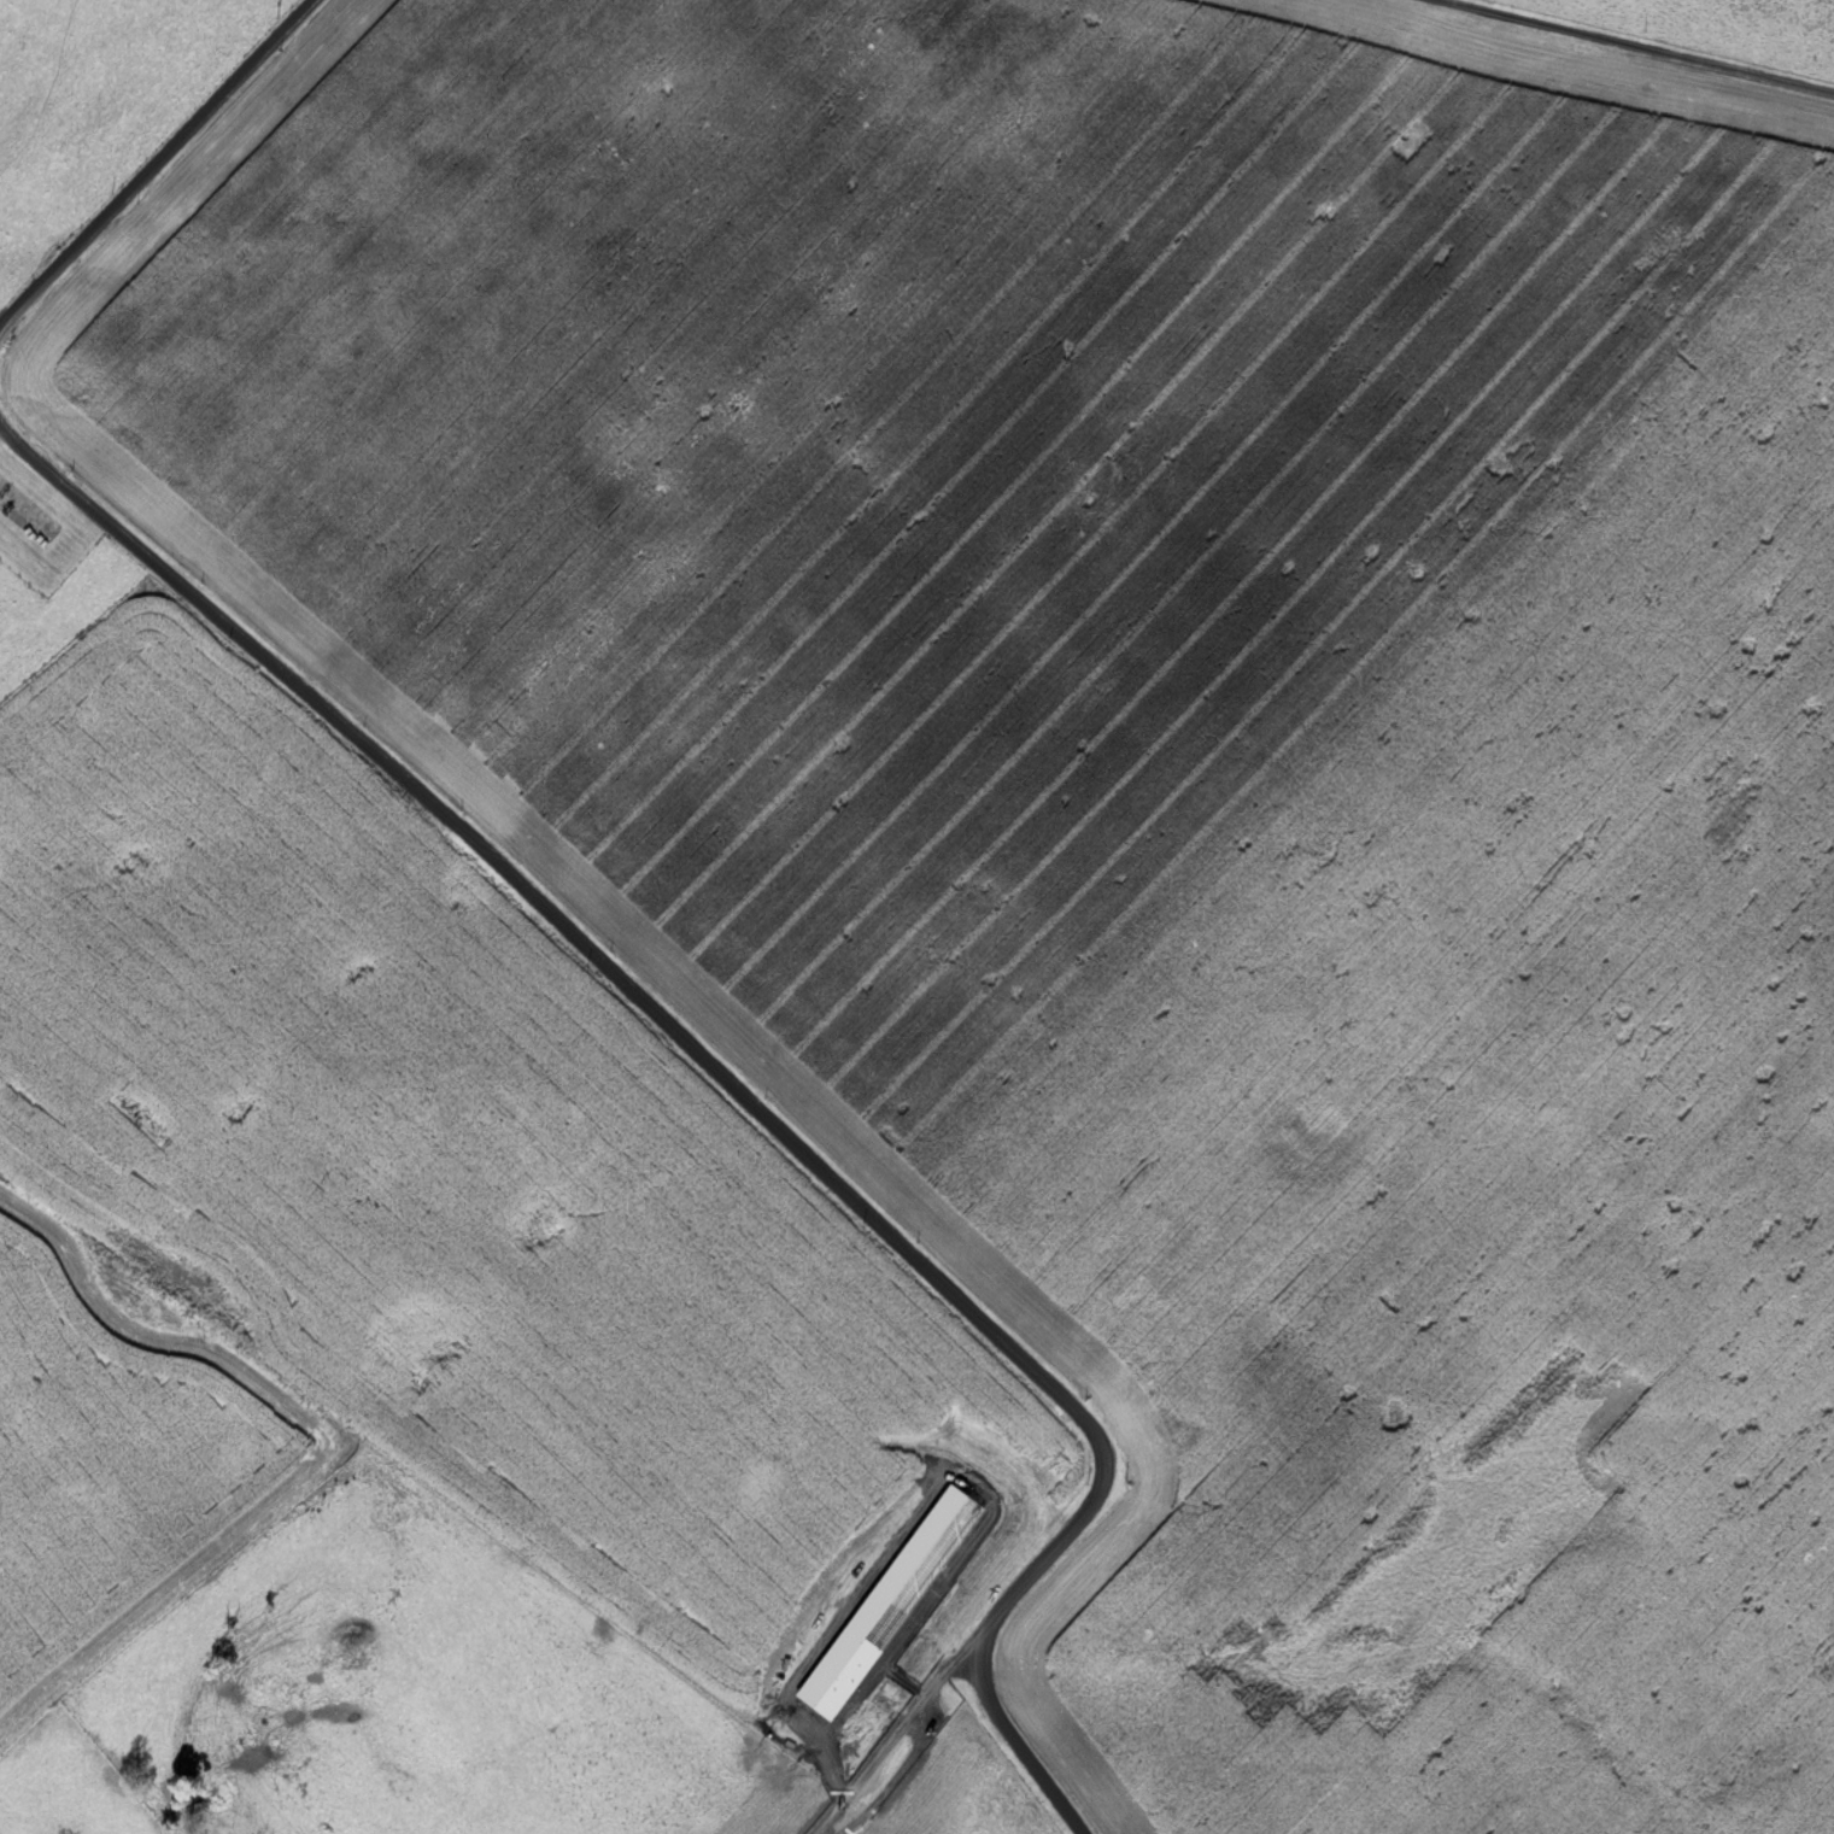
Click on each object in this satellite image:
road: (1707, 24)
road: (142, 157)
road: (730, 1086)

